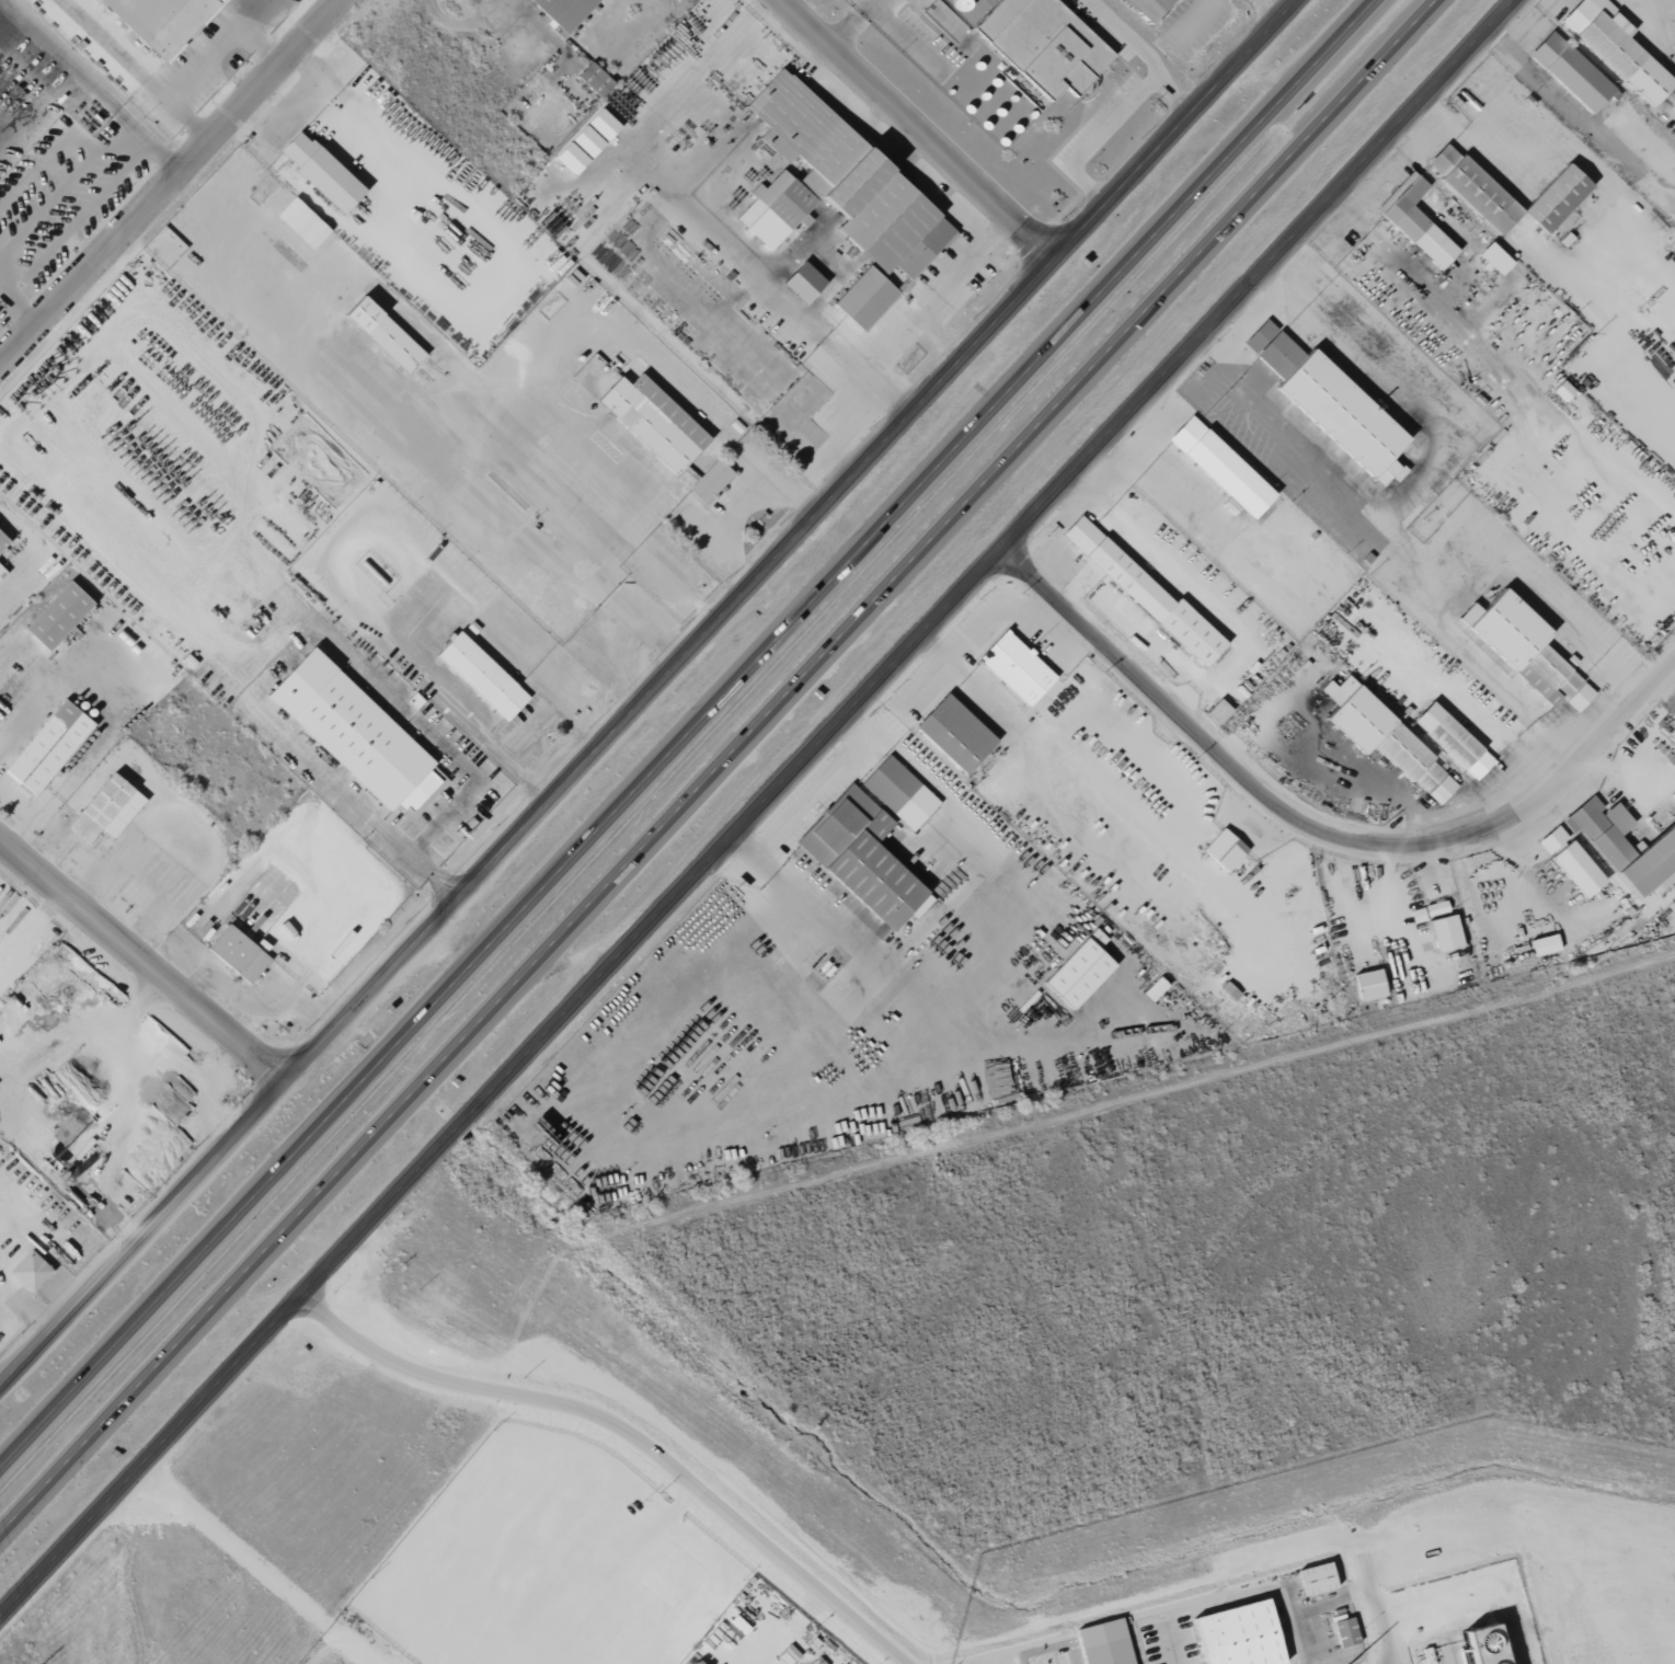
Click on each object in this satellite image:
building: (1147, 8)
road: (254, 11)
building: (564, 11)
building: (161, 21)
road: (1665, 30)
building: (1043, 44)
building: (1616, 47)
road: (1144, 51)
road: (206, 60)
road: (77, 70)
building: (1570, 71)
building: (594, 79)
road: (917, 129)
road: (1098, 137)
building: (586, 140)
road: (168, 157)
building: (319, 171)
road: (172, 184)
building: (835, 184)
building: (1472, 187)
building: (1556, 197)
road: (81, 217)
building: (1414, 221)
building: (301, 222)
building: (697, 239)
building: (1493, 259)
building: (802, 283)
building: (864, 298)
road: (24, 309)
building: (382, 334)
building: (1562, 391)
building: (1330, 403)
building: (653, 421)
building: (1220, 468)
road: (1424, 480)
building: (710, 481)
building: (2, 540)
road: (792, 541)
road: (33, 555)
road: (1196, 589)
building: (1144, 594)
building: (57, 616)
building: (1524, 649)
road: (1469, 653)
building: (1016, 668)
road: (228, 674)
building: (481, 676)
road: (53, 689)
building: (1217, 711)
road: (685, 732)
building: (353, 733)
building: (953, 733)
building: (1384, 738)
building: (1452, 741)
building: (47, 747)
road: (79, 761)
road: (715, 765)
building: (899, 793)
road: (759, 807)
building: (106, 810)
road: (1320, 828)
road: (176, 845)
building: (1625, 847)
building: (1224, 850)
building: (861, 858)
building: (1569, 862)
building: (1429, 911)
building: (1444, 933)
building: (1544, 944)
building: (237, 954)
road: (144, 959)
building: (1079, 971)
building: (1368, 985)
building: (1154, 989)
road: (144, 1235)
road: (629, 1433)
road: (259, 1564)
power plant: (1362, 1564)
power plant: (561, 1574)
building: (1317, 1579)
building: (1346, 1633)
building: (1239, 1636)
building: (1105, 1643)
building: (1482, 1645)

